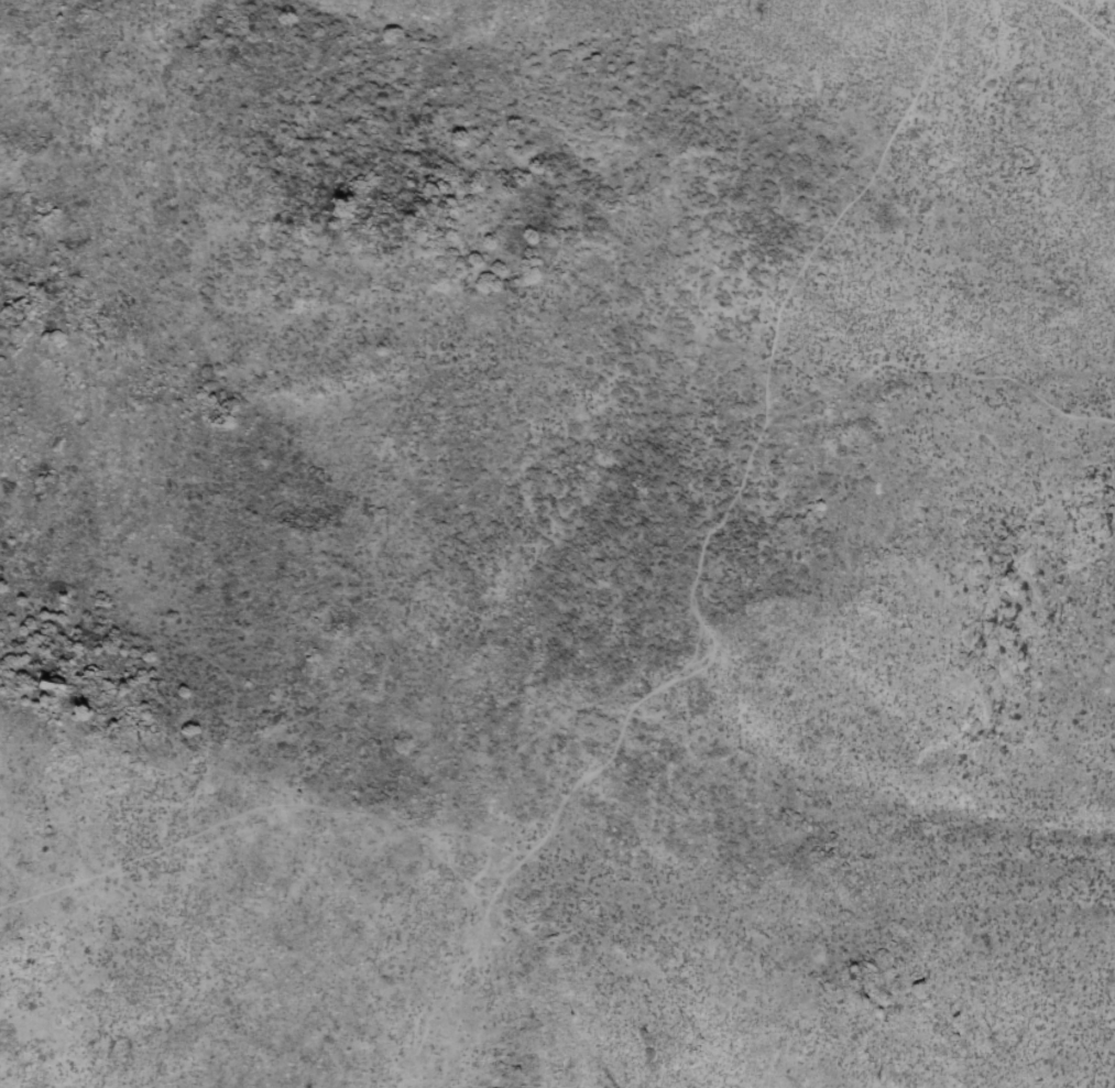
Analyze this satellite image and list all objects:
road: (1085, 20)
road: (984, 145)
road: (653, 694)
road: (517, 921)

